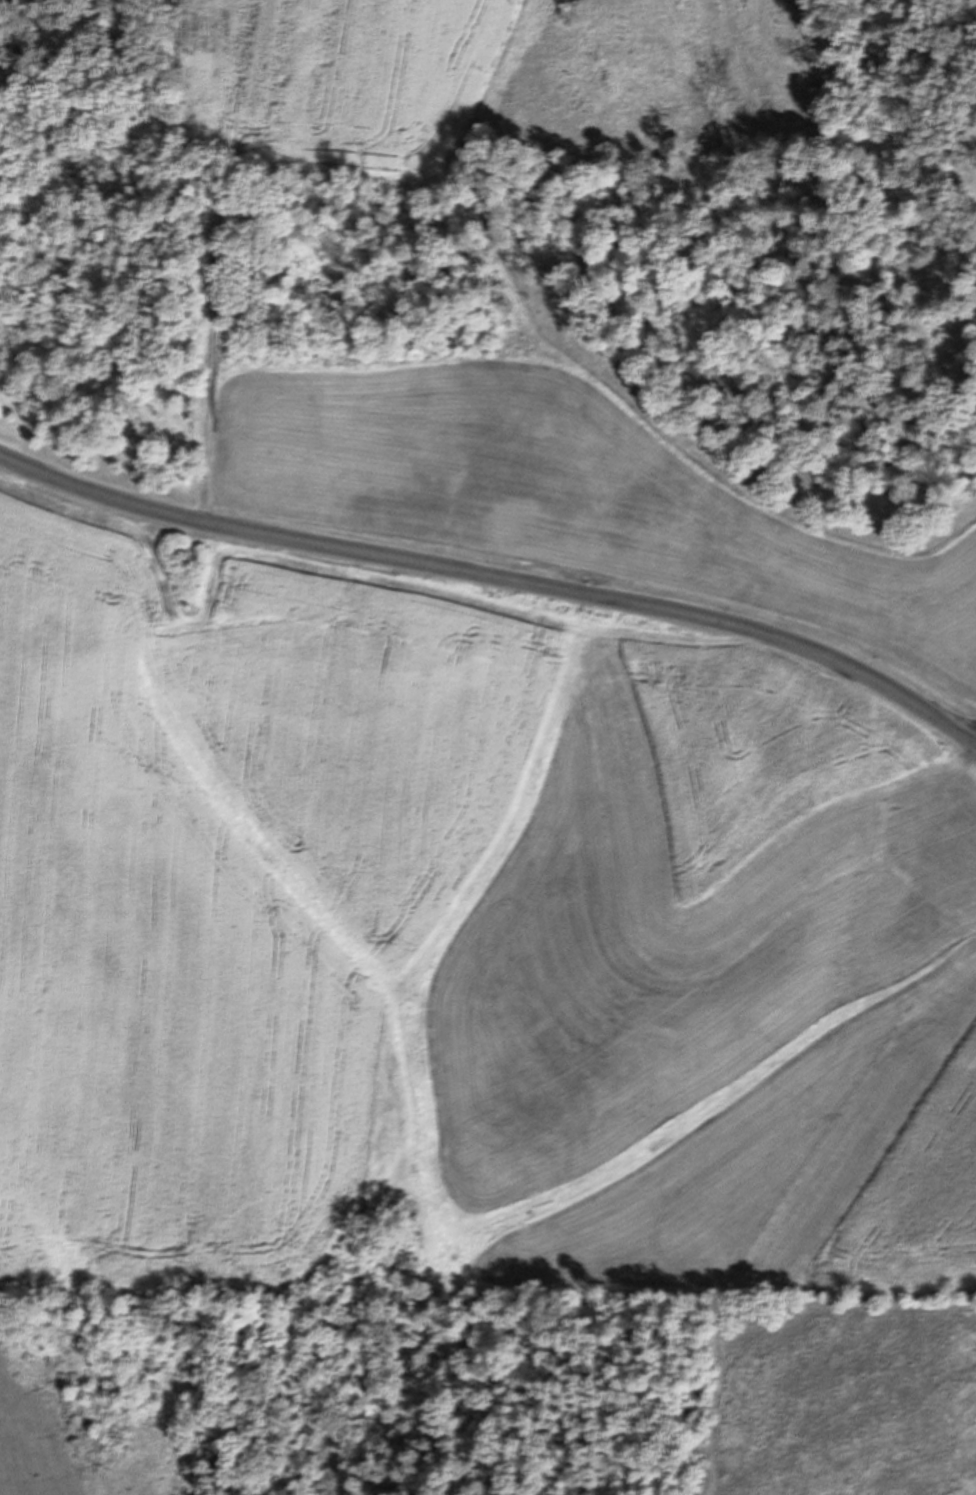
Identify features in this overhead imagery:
road: (214, 328)
road: (82, 387)
building: (152, 462)
road: (495, 577)
road: (651, 632)

